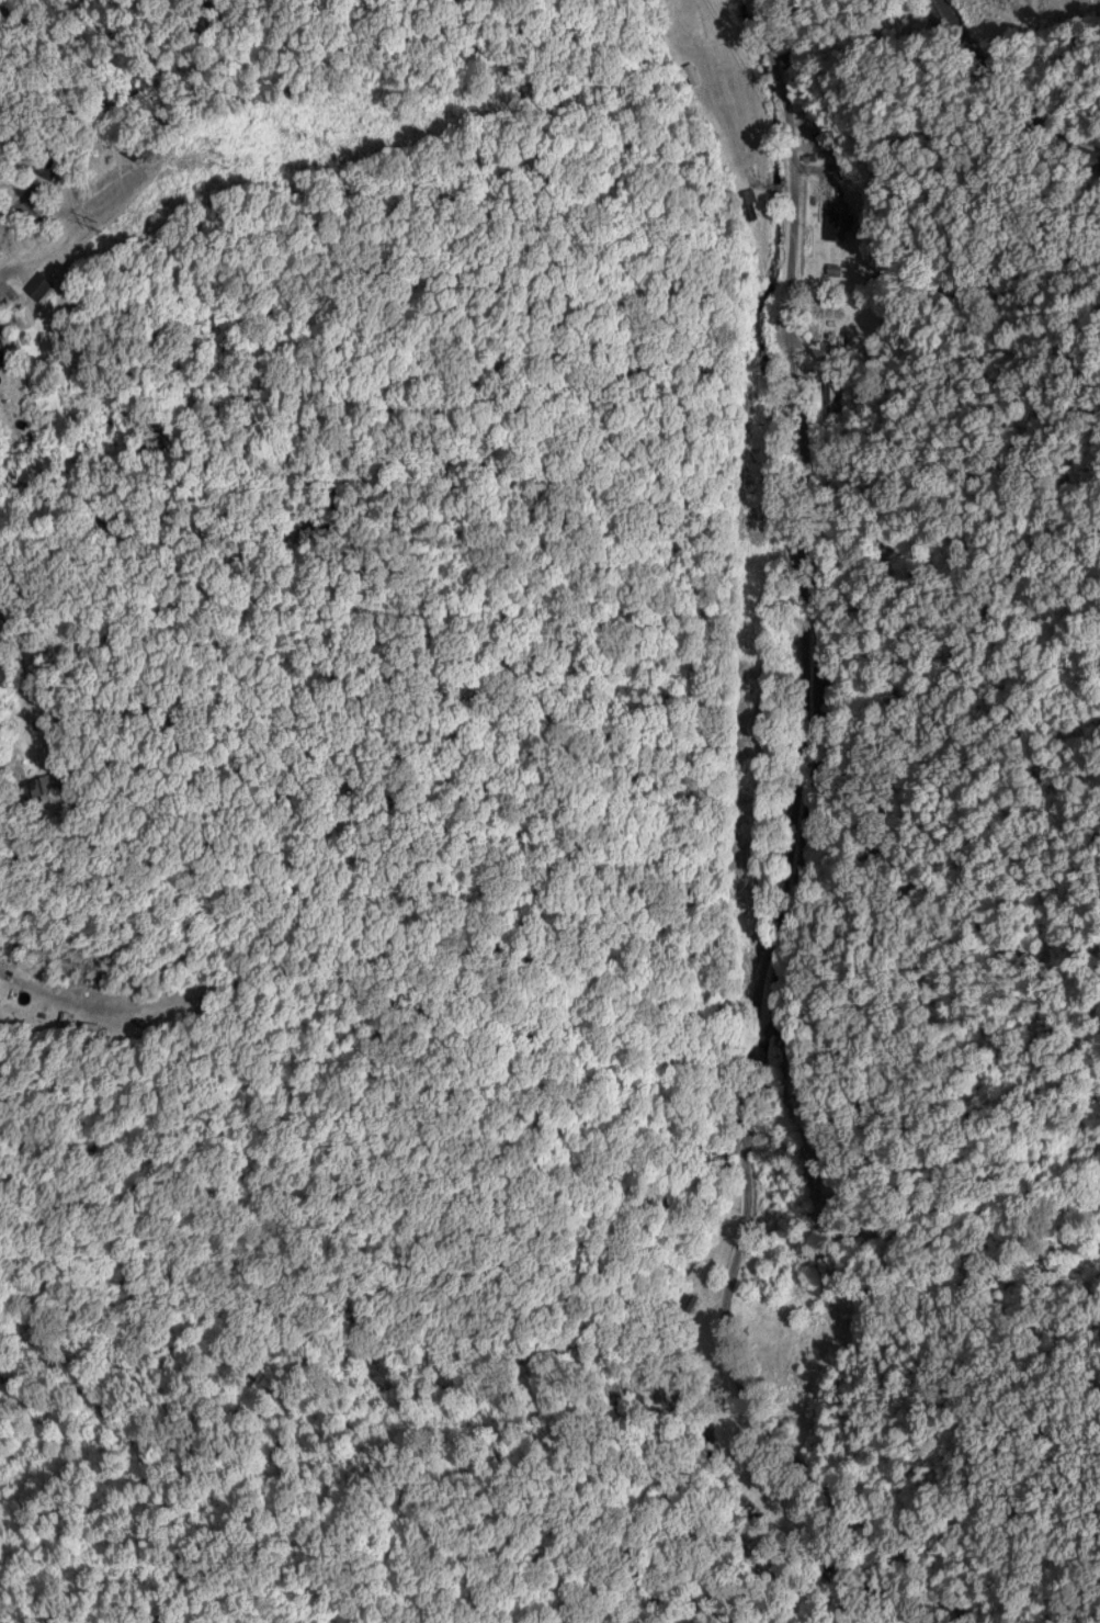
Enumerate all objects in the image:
road: (776, 16)
power tower: (678, 65)
road: (1002, 104)
power tower: (99, 215)
building: (837, 219)
road: (7, 257)
road: (31, 281)
building: (0, 349)
road: (29, 632)
road: (768, 860)

